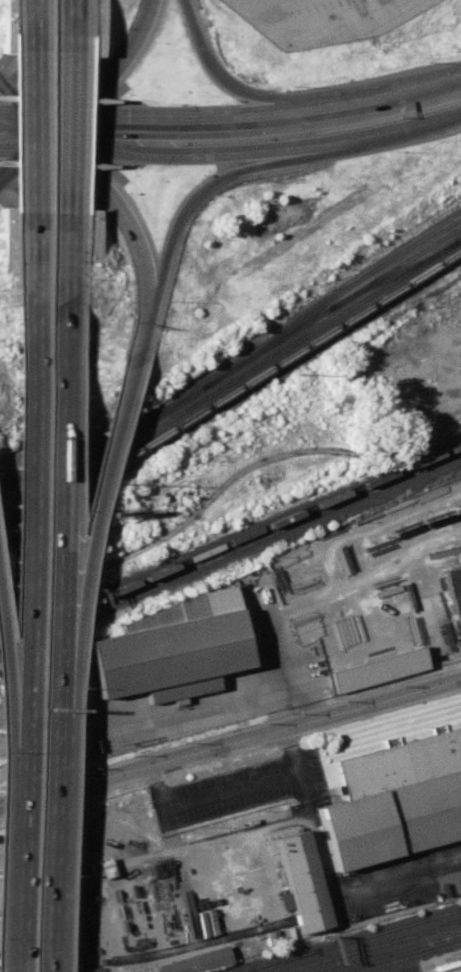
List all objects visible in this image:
parking lot: (326, 19)
road: (37, 25)
road: (75, 26)
road: (115, 73)
road: (221, 78)
road: (383, 92)
road: (26, 99)
road: (178, 114)
road: (26, 121)
traffic signals: (53, 126)
road: (26, 131)
road: (35, 132)
road: (71, 132)
road: (257, 149)
road: (26, 152)
road: (216, 180)
road: (116, 200)
railway: (400, 262)
railway: (396, 272)
road: (65, 277)
road: (33, 279)
railway: (331, 296)
road: (135, 330)
railway: (230, 381)
railway: (230, 392)
railway: (175, 403)
road: (59, 502)
road: (90, 514)
railway: (230, 539)
railway: (2, 543)
road: (25, 547)
railway: (229, 550)
road: (370, 574)
building: (454, 592)
railway: (103, 604)
building: (165, 648)
building: (378, 668)
road: (5, 689)
road: (232, 700)
road: (249, 738)
road: (290, 751)
road: (208, 797)
building: (395, 798)
road: (18, 800)
road: (51, 817)
road: (14, 861)
building: (105, 867)
building: (303, 879)
road: (336, 893)
railway: (395, 927)
railway: (394, 939)
railway: (288, 949)
railway: (387, 952)
railway: (404, 956)
railway: (279, 958)
railway: (281, 960)
railway: (301, 965)

